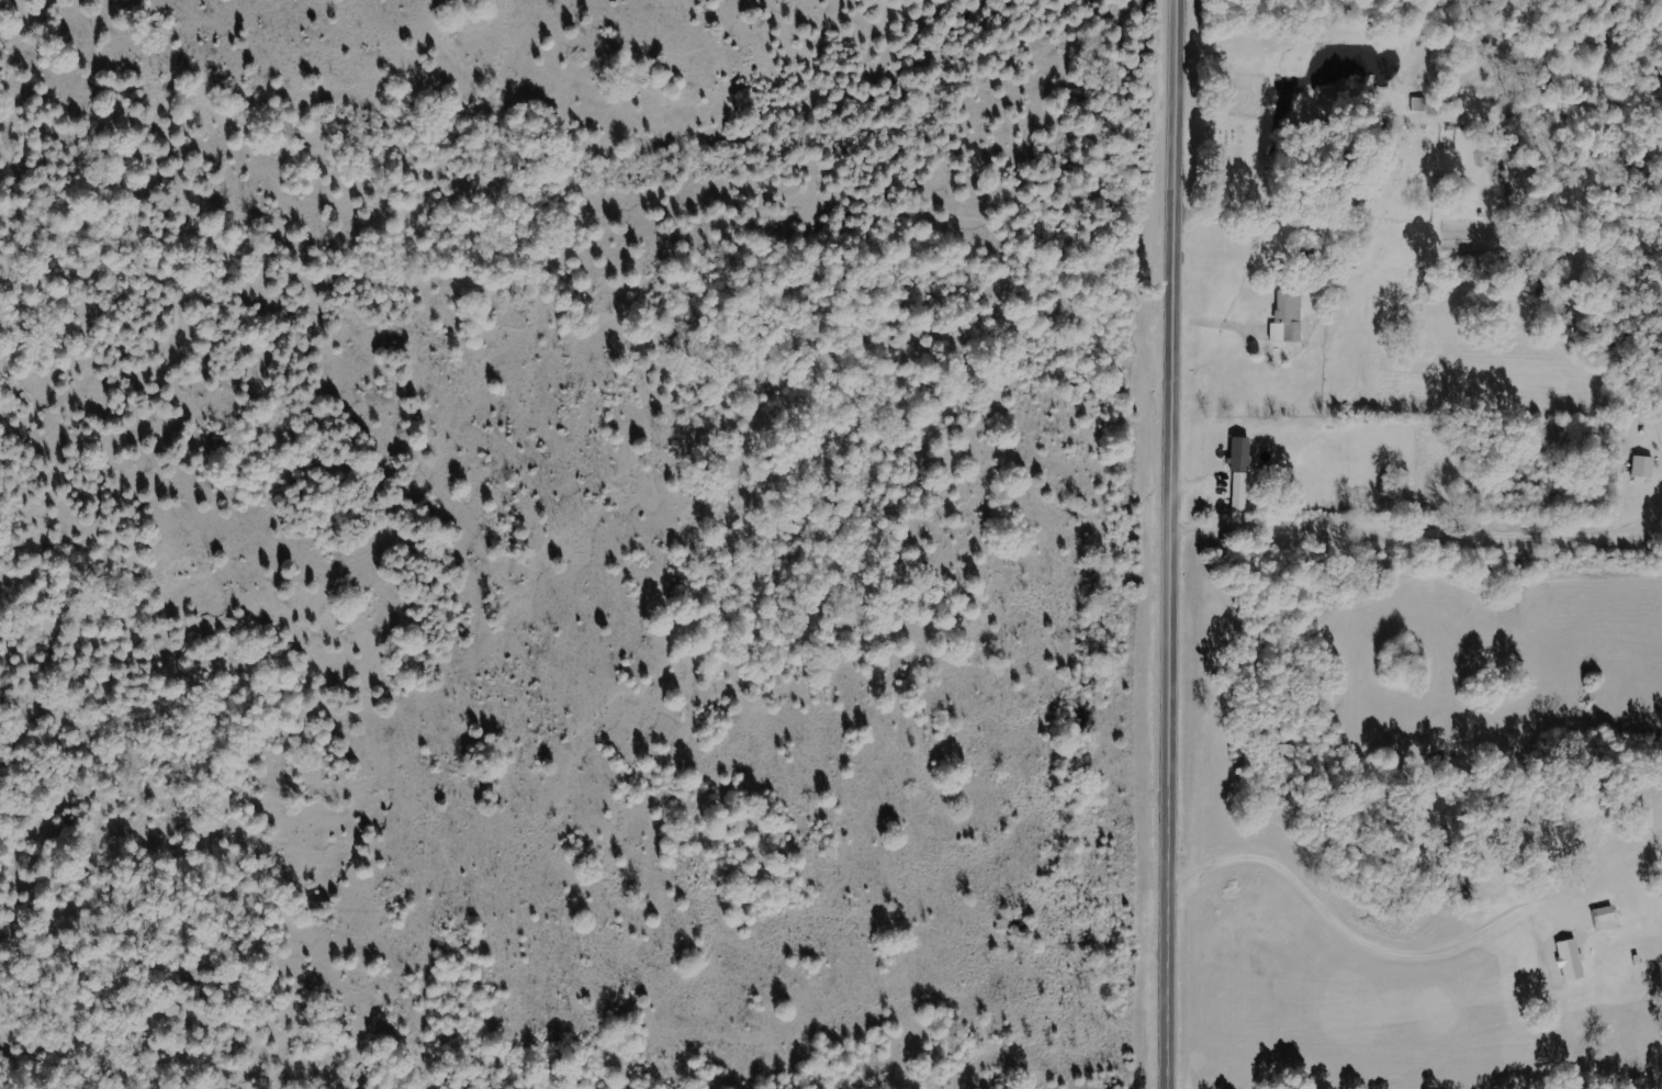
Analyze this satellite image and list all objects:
road: (1361, 176)
building: (1289, 316)
building: (1639, 465)
building: (1237, 470)
road: (1169, 544)
building: (1601, 918)
road: (1414, 920)
building: (1566, 959)

